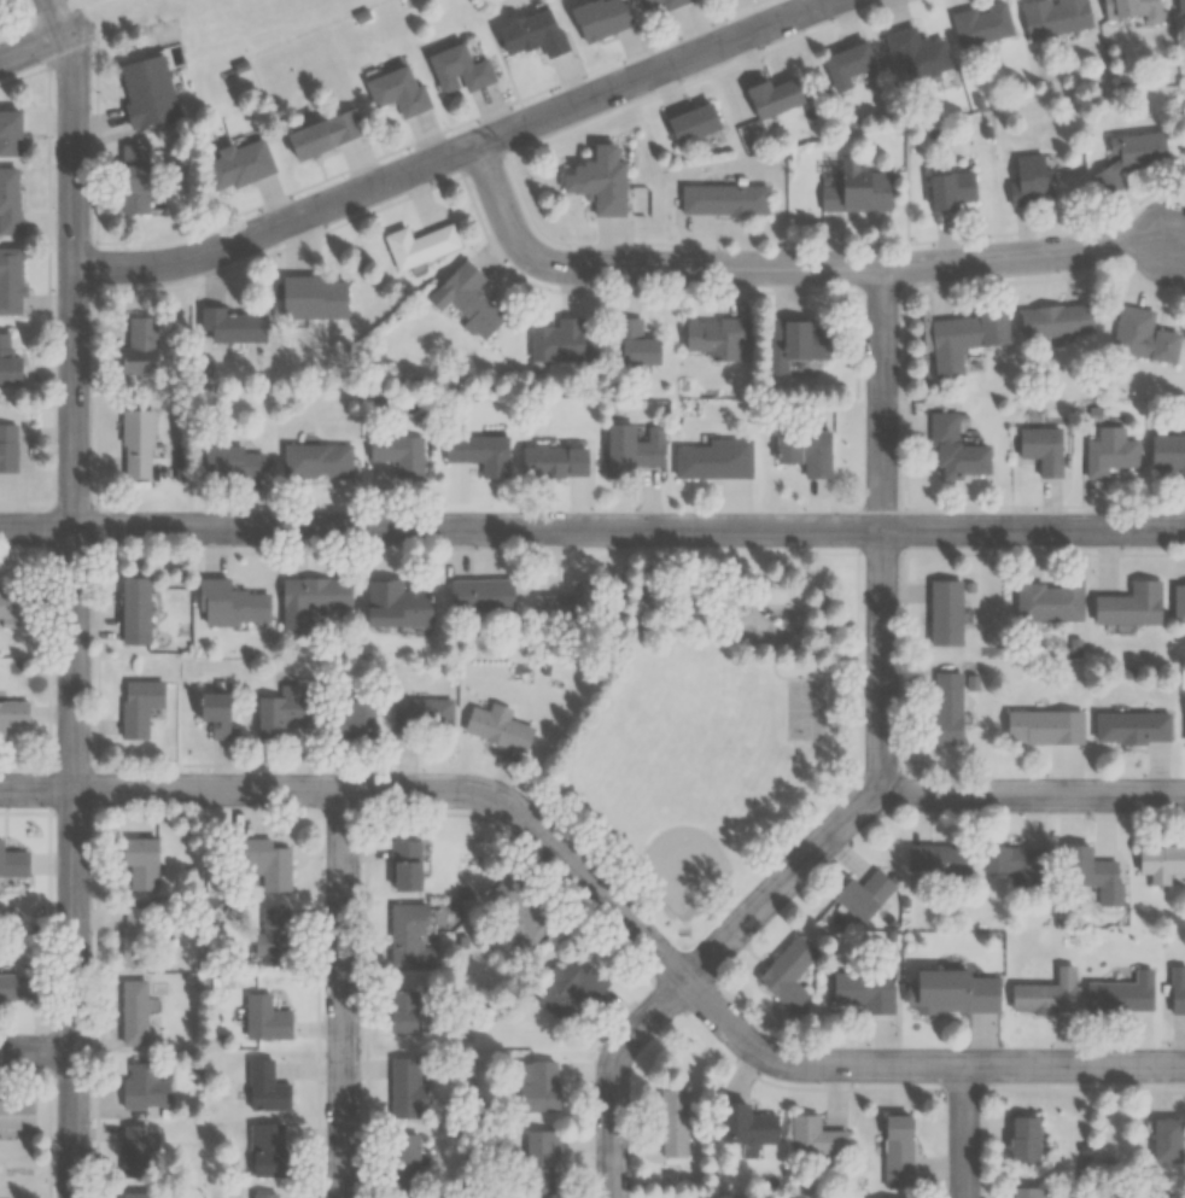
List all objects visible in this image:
building: (654, 5)
building: (1180, 6)
building: (1129, 7)
building: (1055, 16)
building: (599, 18)
building: (981, 23)
building: (531, 33)
road: (45, 42)
building: (917, 52)
building: (846, 64)
building: (457, 70)
building: (145, 90)
building: (397, 92)
building: (771, 97)
building: (691, 123)
road: (97, 130)
building: (8, 133)
building: (322, 133)
building: (1183, 152)
road: (460, 153)
building: (1128, 157)
building: (237, 165)
building: (134, 179)
building: (1029, 180)
building: (597, 185)
building: (857, 191)
building: (948, 191)
building: (8, 200)
building: (714, 206)
building: (413, 250)
road: (790, 274)
building: (10, 280)
building: (313, 298)
building: (467, 299)
building: (1053, 320)
building: (229, 326)
building: (1142, 334)
building: (713, 337)
building: (962, 338)
building: (558, 340)
building: (794, 341)
building: (635, 344)
building: (138, 346)
building: (8, 362)
building: (135, 444)
building: (955, 449)
building: (1041, 449)
building: (631, 450)
building: (805, 450)
building: (397, 452)
building: (478, 452)
building: (1109, 452)
building: (1167, 455)
building: (7, 456)
building: (714, 460)
building: (316, 461)
building: (551, 461)
building: (232, 462)
road: (591, 532)
road: (887, 536)
building: (314, 594)
building: (480, 595)
road: (75, 596)
building: (1049, 601)
building: (1179, 602)
building: (11, 603)
building: (230, 603)
building: (395, 603)
building: (566, 603)
building: (1129, 604)
building: (134, 610)
building: (945, 612)
building: (139, 706)
park: (805, 708)
building: (947, 708)
building: (282, 712)
building: (214, 713)
building: (13, 714)
building: (422, 714)
building: (351, 721)
building: (497, 726)
building: (1043, 726)
park: (722, 727)
building: (1132, 727)
park: (687, 793)
building: (938, 859)
building: (13, 861)
building: (140, 863)
building: (1014, 863)
building: (1161, 863)
building: (265, 864)
building: (405, 865)
building: (1086, 867)
road: (809, 871)
building: (863, 894)
road: (607, 901)
building: (515, 910)
building: (136, 937)
building: (273, 937)
building: (409, 937)
building: (788, 972)
building: (16, 987)
building: (864, 989)
building: (570, 990)
building: (955, 990)
building: (1045, 993)
building: (1121, 994)
road: (349, 998)
building: (1177, 998)
building: (402, 1011)
building: (134, 1012)
building: (265, 1018)
road: (37, 1048)
building: (537, 1086)
building: (144, 1088)
building: (265, 1088)
building: (407, 1088)
building: (17, 1115)
building: (672, 1123)
building: (745, 1124)
road: (970, 1134)
building: (815, 1136)
building: (1023, 1139)
building: (1164, 1140)
building: (268, 1150)
building: (897, 1151)
building: (134, 1152)
building: (539, 1159)
building: (407, 1162)
building: (1023, 1192)
building: (138, 1194)
building: (263, 1194)

